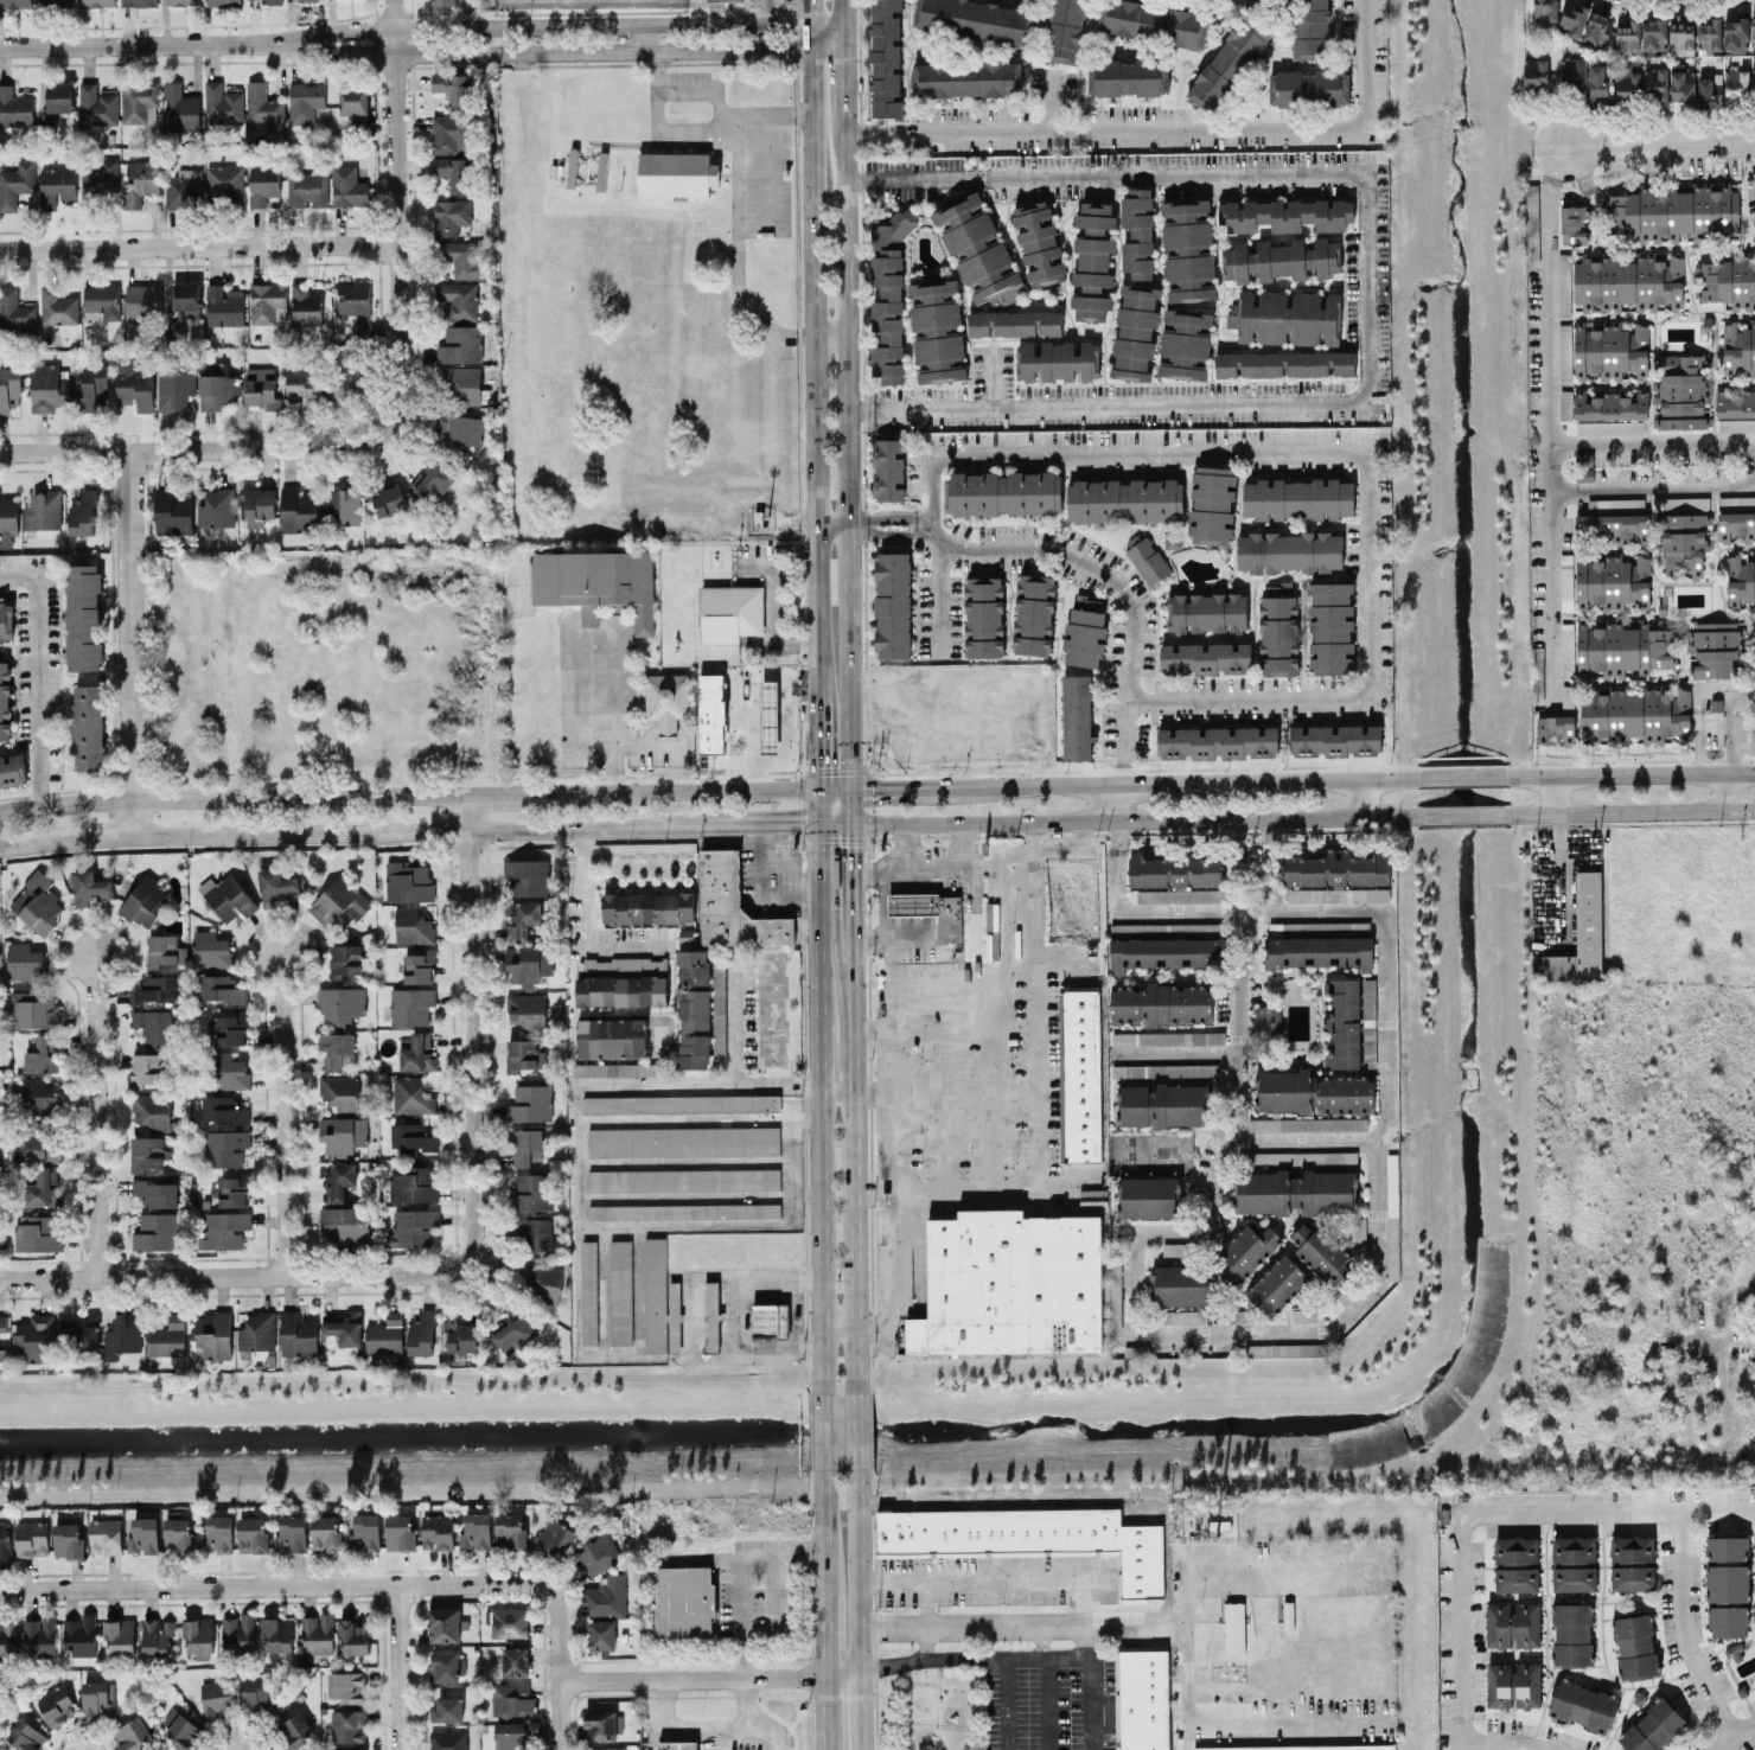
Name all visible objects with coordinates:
building: (715, 0)
building: (57, 1)
building: (181, 1)
building: (274, 1)
building: (15, 2)
building: (97, 2)
building: (139, 2)
building: (224, 2)
building: (442, 2)
building: (1545, 9)
road: (771, 18)
road: (844, 18)
building: (975, 19)
building: (1572, 20)
building: (1155, 21)
building: (1597, 26)
building: (1310, 28)
building: (1066, 30)
building: (1735, 31)
building: (1753, 31)
building: (1680, 32)
building: (1654, 33)
building: (1628, 36)
building: (1709, 36)
road: (422, 39)
building: (886, 58)
building: (1231, 59)
building: (1536, 71)
building: (1574, 75)
road: (845, 76)
building: (1128, 76)
building: (966, 77)
building: (1628, 79)
building: (1754, 79)
building: (1601, 82)
building: (1655, 82)
building: (1737, 83)
building: (1681, 84)
building: (1309, 87)
building: (454, 88)
building: (1709, 90)
building: (59, 96)
building: (139, 98)
building: (353, 98)
building: (305, 100)
building: (222, 103)
road: (1053, 103)
building: (96, 104)
building: (263, 106)
building: (14, 107)
building: (181, 108)
road: (693, 127)
building: (449, 133)
road: (1175, 133)
road: (1653, 140)
road: (1552, 161)
building: (572, 166)
building: (601, 170)
building: (454, 172)
building: (676, 173)
road: (1218, 173)
building: (101, 179)
building: (141, 179)
building: (224, 180)
building: (15, 183)
building: (262, 183)
building: (56, 185)
building: (347, 186)
building: (183, 187)
building: (306, 189)
building: (1674, 211)
building: (1285, 213)
building: (451, 215)
building: (1532, 221)
road: (397, 222)
building: (1574, 224)
building: (1138, 232)
building: (1039, 242)
road: (199, 244)
road: (735, 247)
building: (1188, 249)
building: (979, 250)
building: (461, 257)
building: (1281, 258)
building: (1093, 260)
building: (1728, 280)
building: (1628, 282)
building: (1564, 285)
building: (889, 294)
building: (186, 298)
building: (142, 299)
building: (458, 299)
building: (102, 300)
building: (267, 301)
building: (355, 302)
building: (224, 305)
building: (306, 305)
building: (58, 306)
building: (14, 311)
building: (1288, 317)
building: (1015, 322)
building: (1136, 330)
building: (937, 331)
road: (830, 333)
building: (1185, 343)
building: (460, 344)
building: (1610, 349)
building: (1738, 349)
road: (812, 350)
building: (1564, 351)
building: (1058, 359)
building: (1284, 363)
road: (997, 376)
building: (134, 384)
building: (305, 384)
building: (461, 384)
building: (216, 385)
building: (9, 387)
building: (49, 387)
building: (260, 387)
building: (174, 388)
building: (346, 388)
building: (1683, 391)
road: (1109, 398)
building: (1565, 404)
building: (1610, 405)
building: (1735, 408)
building: (1608, 426)
building: (459, 432)
road: (1552, 446)
road: (193, 447)
road: (1064, 448)
road: (849, 451)
road: (1653, 464)
building: (888, 468)
building: (434, 478)
building: (1002, 492)
building: (388, 498)
building: (1297, 498)
building: (1125, 500)
building: (1680, 503)
building: (259, 504)
building: (1212, 504)
building: (343, 505)
building: (217, 507)
building: (298, 509)
building: (43, 510)
building: (173, 510)
building: (83, 512)
road: (894, 519)
building: (8, 520)
road: (831, 523)
building: (1612, 526)
building: (1684, 543)
building: (1289, 550)
building: (1147, 558)
road: (355, 560)
road: (1383, 567)
building: (1614, 582)
building: (1566, 583)
road: (1127, 592)
building: (893, 605)
building: (1206, 611)
building: (730, 612)
building: (1034, 613)
building: (984, 615)
building: (83, 617)
building: (6, 620)
building: (1332, 627)
building: (1278, 628)
road: (586, 631)
building: (1085, 631)
road: (129, 640)
road: (736, 646)
building: (1627, 646)
building: (1205, 657)
road: (37, 670)
road: (984, 682)
road: (1735, 691)
road: (1259, 694)
building: (5, 698)
building: (666, 698)
building: (710, 700)
building: (1635, 715)
building: (1077, 716)
building: (89, 726)
building: (1555, 727)
building: (1335, 739)
building: (1218, 741)
road: (816, 742)
road: (1734, 758)
road: (930, 759)
road: (1639, 771)
road: (930, 772)
road: (1310, 774)
road: (1470, 774)
road: (1167, 778)
road: (1030, 780)
traffic signals: (816, 785)
road: (835, 785)
traffic signals: (854, 785)
road: (894, 785)
road: (407, 793)
road: (1556, 793)
road: (1361, 794)
road: (816, 803)
road: (854, 803)
road: (1636, 810)
road: (1124, 815)
road: (1466, 815)
road: (1132, 816)
traffic signals: (816, 820)
road: (835, 820)
traffic signals: (854, 820)
road: (777, 822)
road: (1253, 829)
road: (434, 832)
road: (96, 837)
road: (907, 842)
road: (30, 845)
building: (1336, 868)
road: (854, 869)
road: (868, 870)
building: (528, 875)
road: (1557, 876)
building: (1176, 877)
building: (409, 880)
building: (275, 884)
building: (90, 887)
building: (228, 896)
building: (146, 899)
building: (37, 902)
building: (339, 903)
building: (733, 905)
building: (647, 907)
building: (931, 911)
road: (883, 915)
building: (524, 919)
road: (816, 921)
building: (413, 925)
road: (778, 930)
building: (1581, 934)
road: (869, 938)
road: (610, 944)
building: (211, 949)
building: (164, 950)
building: (1168, 951)
building: (1320, 951)
building: (344, 959)
building: (25, 960)
building: (528, 963)
building: (634, 963)
building: (419, 966)
road: (738, 969)
building: (222, 988)
building: (154, 989)
building: (621, 989)
road: (1249, 992)
building: (1368, 999)
building: (719, 1003)
building: (1162, 1003)
building: (340, 1004)
building: (411, 1004)
building: (32, 1008)
building: (694, 1008)
building: (526, 1010)
building: (1268, 1020)
building: (1344, 1022)
building: (154, 1026)
building: (230, 1027)
road: (874, 1027)
road: (473, 1032)
building: (612, 1036)
building: (1167, 1037)
building: (336, 1048)
building: (417, 1052)
building: (42, 1054)
building: (524, 1054)
road: (818, 1054)
road: (1186, 1055)
building: (146, 1067)
building: (614, 1068)
building: (226, 1069)
building: (1164, 1069)
building: (1079, 1074)
road: (704, 1079)
road: (837, 1087)
building: (340, 1091)
road: (874, 1092)
building: (1314, 1092)
building: (38, 1094)
building: (411, 1096)
road: (1039, 1096)
building: (530, 1103)
building: (681, 1103)
building: (1163, 1104)
building: (223, 1109)
building: (153, 1110)
road: (92, 1114)
road: (283, 1114)
building: (1308, 1123)
building: (343, 1133)
building: (413, 1137)
building: (683, 1141)
road: (1244, 1142)
building: (42, 1144)
building: (525, 1145)
building: (225, 1147)
road: (854, 1148)
building: (147, 1151)
building: (1302, 1156)
building: (337, 1179)
building: (683, 1179)
building: (414, 1183)
building: (43, 1187)
building: (234, 1189)
building: (1296, 1190)
building: (157, 1192)
building: (531, 1192)
building: (1148, 1196)
building: (683, 1211)
building: (1392, 1215)
building: (343, 1225)
building: (411, 1227)
building: (224, 1228)
building: (34, 1231)
building: (157, 1231)
road: (819, 1232)
building: (540, 1238)
building: (1359, 1238)
building: (1174, 1247)
road: (893, 1251)
building: (1246, 1251)
building: (1322, 1252)
road: (238, 1277)
building: (544, 1280)
building: (1011, 1283)
building: (1182, 1284)
building: (1276, 1284)
building: (589, 1291)
building: (620, 1291)
building: (655, 1294)
building: (1115, 1298)
building: (711, 1315)
building: (674, 1316)
building: (1179, 1316)
building: (770, 1320)
road: (838, 1321)
road: (875, 1321)
building: (2, 1322)
road: (687, 1322)
building: (344, 1326)
building: (513, 1329)
building: (257, 1331)
building: (422, 1331)
building: (81, 1333)
building: (298, 1333)
building: (385, 1333)
building: (123, 1334)
building: (213, 1334)
building: (37, 1336)
building: (167, 1336)
building: (461, 1336)
building: (1296, 1348)
building: (4, 1352)
road: (856, 1422)
road: (822, 1423)
road: (1002, 1495)
road: (1461, 1524)
building: (476, 1529)
building: (510, 1529)
building: (365, 1531)
building: (398, 1531)
building: (438, 1531)
road: (823, 1531)
building: (218, 1533)
building: (251, 1533)
building: (292, 1533)
building: (326, 1533)
building: (106, 1534)
building: (143, 1534)
building: (178, 1534)
building: (556, 1535)
building: (32, 1538)
building: (1032, 1538)
building: (68, 1539)
building: (5, 1540)
building: (1632, 1547)
building: (1728, 1547)
building: (1515, 1548)
building: (1574, 1548)
building: (598, 1553)
road: (1210, 1561)
road: (859, 1569)
road: (1022, 1569)
building: (1632, 1577)
building: (1515, 1578)
building: (1574, 1578)
building: (1728, 1582)
road: (257, 1583)
road: (744, 1584)
building: (606, 1595)
building: (679, 1602)
road: (975, 1620)
building: (509, 1621)
road: (1138, 1621)
road: (1423, 1621)
building: (1728, 1621)
building: (443, 1624)
building: (1512, 1624)
building: (1233, 1627)
road: (1681, 1628)
building: (238, 1630)
building: (277, 1633)
building: (318, 1633)
building: (1574, 1633)
building: (79, 1634)
building: (198, 1634)
building: (601, 1634)
building: (40, 1635)
building: (120, 1635)
building: (157, 1635)
road: (824, 1635)
building: (353, 1636)
building: (8, 1637)
building: (1635, 1644)
road: (562, 1648)
road: (1017, 1660)
building: (515, 1661)
road: (400, 1666)
building: (446, 1666)
road: (842, 1673)
road: (694, 1674)
building: (1513, 1684)
building: (347, 1686)
building: (256, 1695)
building: (511, 1698)
building: (98, 1699)
building: (217, 1699)
building: (1143, 1699)
building: (56, 1704)
building: (1583, 1704)
building: (448, 1707)
road: (860, 1711)
road: (825, 1712)
road: (1308, 1722)
building: (347, 1724)
building: (600, 1724)
road: (703, 1725)
building: (1653, 1726)
building: (181, 1730)
building: (294, 1730)
building: (134, 1733)
building: (26, 1735)
building: (509, 1735)
road: (1735, 1735)
road: (719, 1737)
building: (448, 1739)
building: (677, 1744)
building: (1301, 1746)
building: (605, 1748)
building: (346, 1749)

